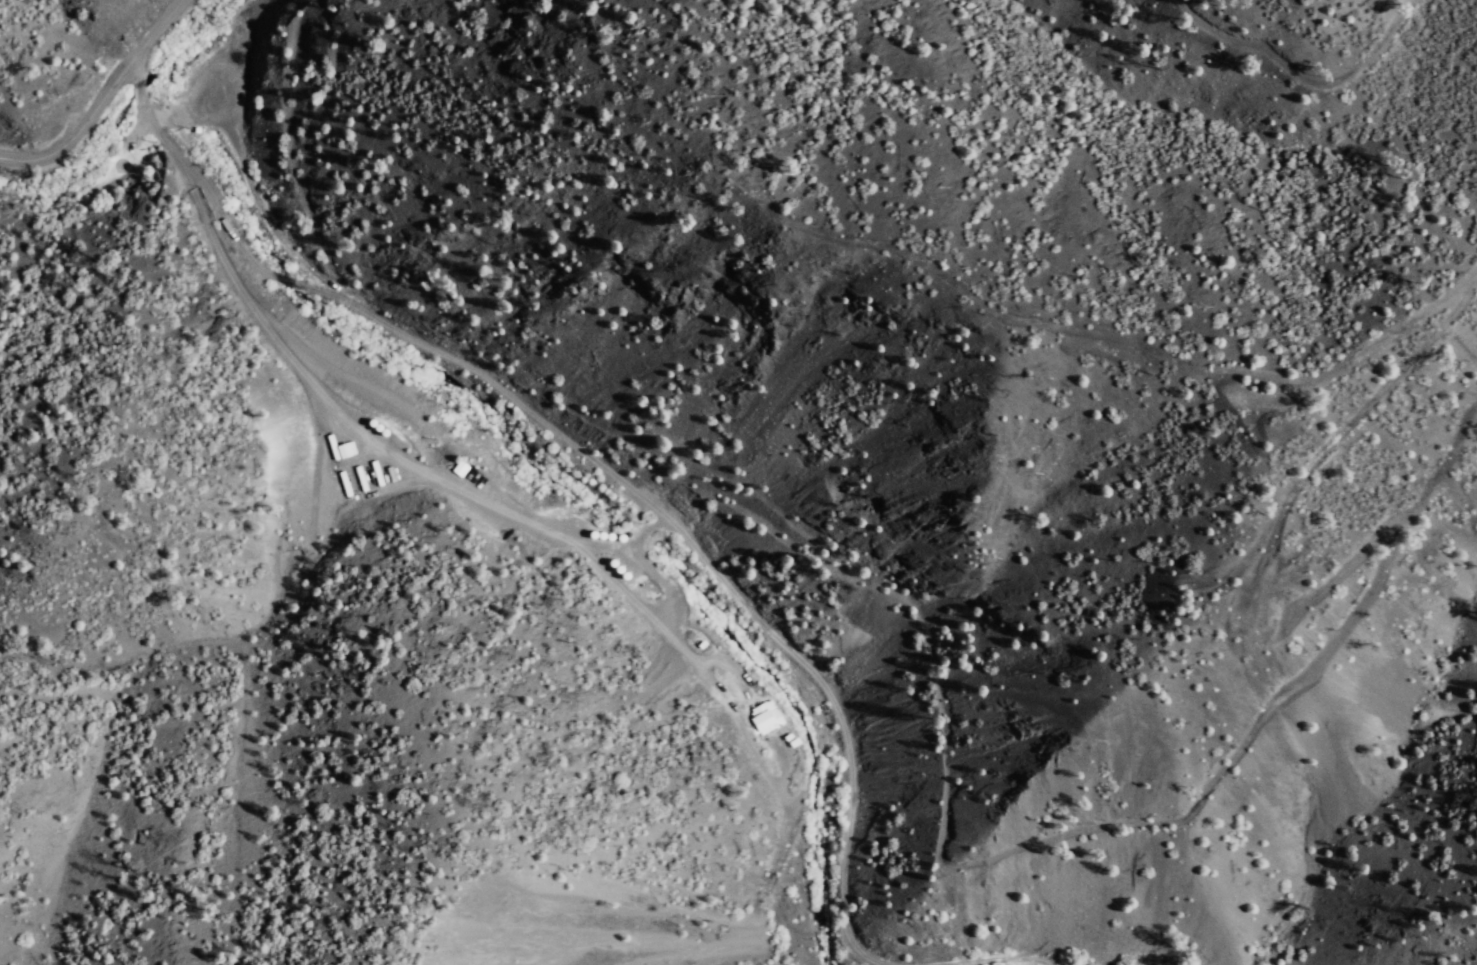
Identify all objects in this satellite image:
road: (108, 95)
road: (377, 451)
road: (595, 464)
building: (464, 478)
building: (507, 504)
building: (621, 569)
building: (764, 719)
road: (990, 961)

